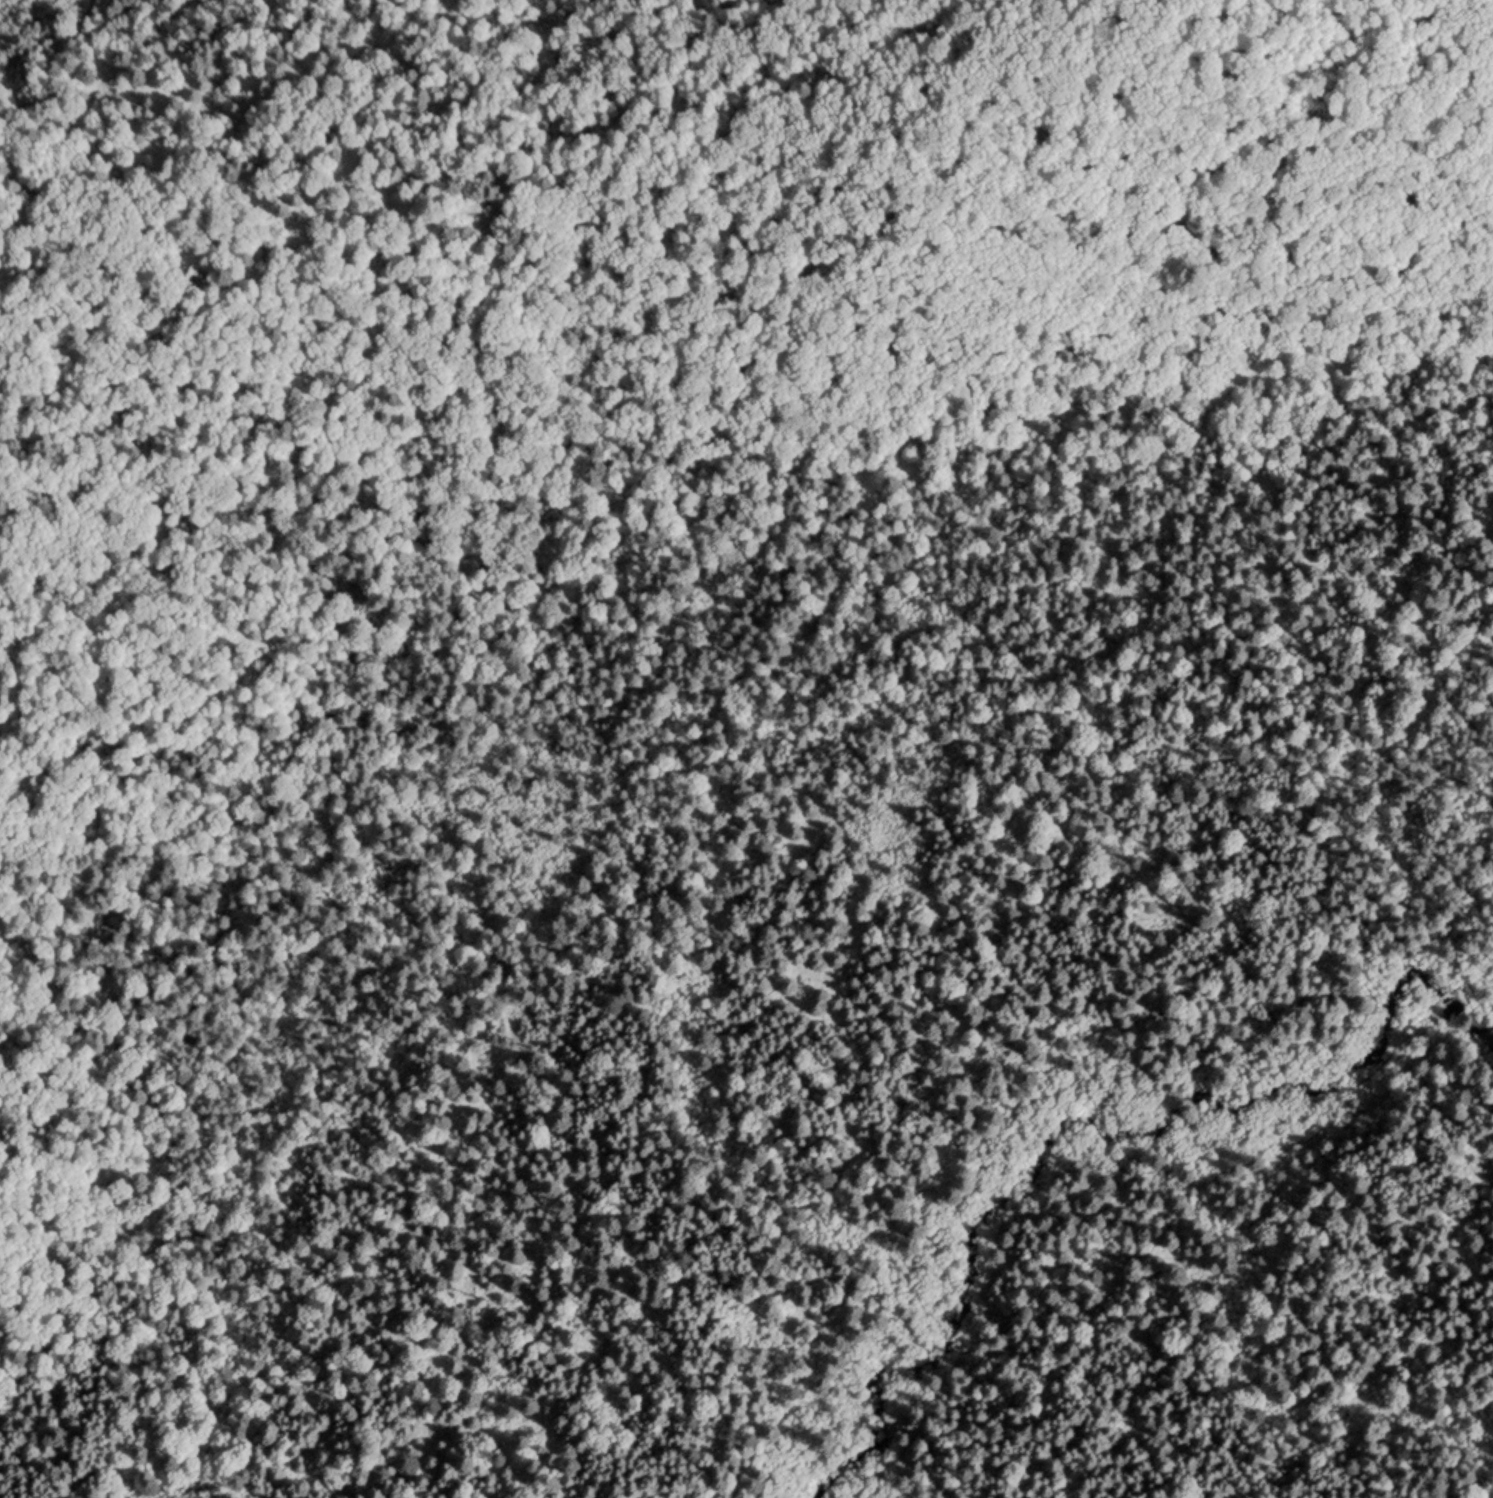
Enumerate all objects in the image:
road: (563, 123)

